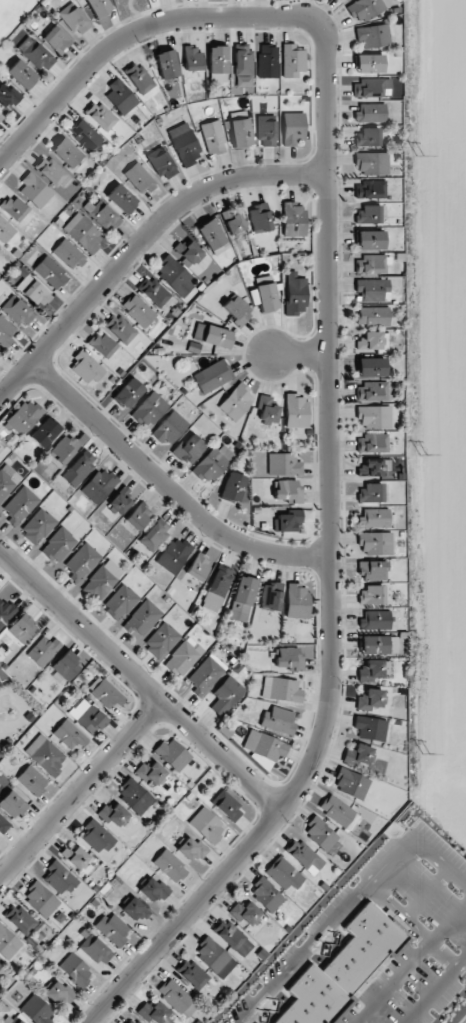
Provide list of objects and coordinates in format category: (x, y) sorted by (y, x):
building: (343, 0)
building: (99, 7)
building: (365, 9)
park: (131, 10)
road: (136, 12)
park: (13, 14)
building: (73, 19)
road: (135, 32)
building: (373, 36)
building: (56, 39)
building: (35, 54)
building: (192, 58)
building: (267, 60)
building: (292, 61)
building: (217, 63)
building: (369, 63)
building: (166, 64)
building: (243, 66)
building: (22, 74)
building: (139, 78)
building: (372, 88)
building: (8, 95)
building: (120, 95)
building: (370, 113)
building: (1, 116)
building: (100, 116)
building: (293, 128)
building: (240, 129)
building: (265, 130)
building: (85, 135)
building: (213, 137)
building: (367, 137)
building: (184, 144)
building: (66, 152)
power tower: (419, 155)
building: (372, 163)
building: (162, 164)
building: (50, 171)
building: (139, 178)
building: (370, 189)
building: (34, 190)
building: (121, 199)
building: (13, 208)
building: (369, 214)
building: (104, 216)
building: (259, 218)
building: (293, 219)
building: (233, 223)
building: (5, 230)
building: (83, 233)
building: (212, 233)
road: (136, 238)
building: (370, 240)
building: (0, 249)
building: (190, 252)
building: (68, 254)
building: (370, 264)
building: (50, 272)
building: (175, 276)
building: (373, 290)
building: (34, 291)
building: (154, 291)
building: (295, 294)
building: (266, 297)
building: (237, 310)
building: (17, 311)
building: (138, 311)
building: (372, 316)
building: (120, 329)
building: (5, 332)
building: (212, 335)
building: (370, 341)
building: (102, 344)
road: (299, 357)
building: (371, 367)
building: (87, 368)
building: (213, 376)
building: (372, 391)
building: (128, 393)
building: (236, 402)
building: (267, 408)
building: (149, 410)
building: (296, 410)
building: (22, 417)
building: (374, 417)
building: (170, 428)
building: (44, 432)
building: (372, 443)
building: (189, 448)
building: (63, 449)
power tower: (422, 453)
building: (213, 463)
building: (284, 464)
building: (371, 467)
building: (78, 470)
building: (5, 481)
building: (99, 485)
building: (233, 487)
building: (288, 490)
building: (370, 493)
road: (161, 496)
building: (120, 501)
building: (20, 505)
building: (138, 516)
building: (374, 518)
building: (289, 520)
building: (38, 526)
building: (154, 534)
building: (375, 543)
building: (58, 544)
building: (173, 555)
building: (82, 562)
road: (330, 562)
building: (198, 566)
building: (373, 570)
building: (102, 580)
building: (216, 588)
building: (371, 595)
building: (270, 596)
building: (242, 598)
building: (297, 601)
building: (120, 602)
building: (6, 611)
building: (142, 618)
building: (375, 620)
building: (22, 629)
building: (161, 640)
building: (379, 645)
building: (43, 651)
building: (183, 657)
building: (288, 658)
building: (66, 666)
building: (370, 670)
building: (206, 674)
road: (138, 683)
building: (281, 689)
building: (104, 693)
building: (226, 695)
building: (370, 700)
building: (87, 716)
building: (277, 720)
building: (370, 728)
building: (69, 735)
building: (264, 745)
power tower: (427, 751)
building: (172, 754)
building: (359, 754)
building: (45, 755)
building: (152, 774)
building: (32, 780)
building: (351, 783)
road: (79, 790)
building: (135, 796)
building: (12, 804)
building: (227, 806)
building: (336, 810)
building: (114, 814)
building: (3, 825)
building: (207, 825)
building: (320, 834)
building: (96, 837)
building: (191, 848)
building: (304, 856)
building: (75, 857)
road: (439, 861)
building: (170, 866)
building: (283, 874)
building: (59, 878)
building: (154, 890)
building: (266, 894)
road: (425, 894)
building: (40, 899)
building: (135, 909)
building: (246, 914)
building: (21, 919)
road: (410, 927)
building: (113, 928)
road: (325, 930)
building: (233, 937)
building: (8, 943)
building: (95, 951)
building: (214, 957)
road: (411, 963)
building: (0, 966)
building: (76, 970)
building: (342, 970)
building: (192, 974)
road: (435, 989)
building: (60, 994)
building: (177, 998)
building: (37, 1010)
building: (154, 1012)
building: (10, 1019)
building: (133, 1021)

